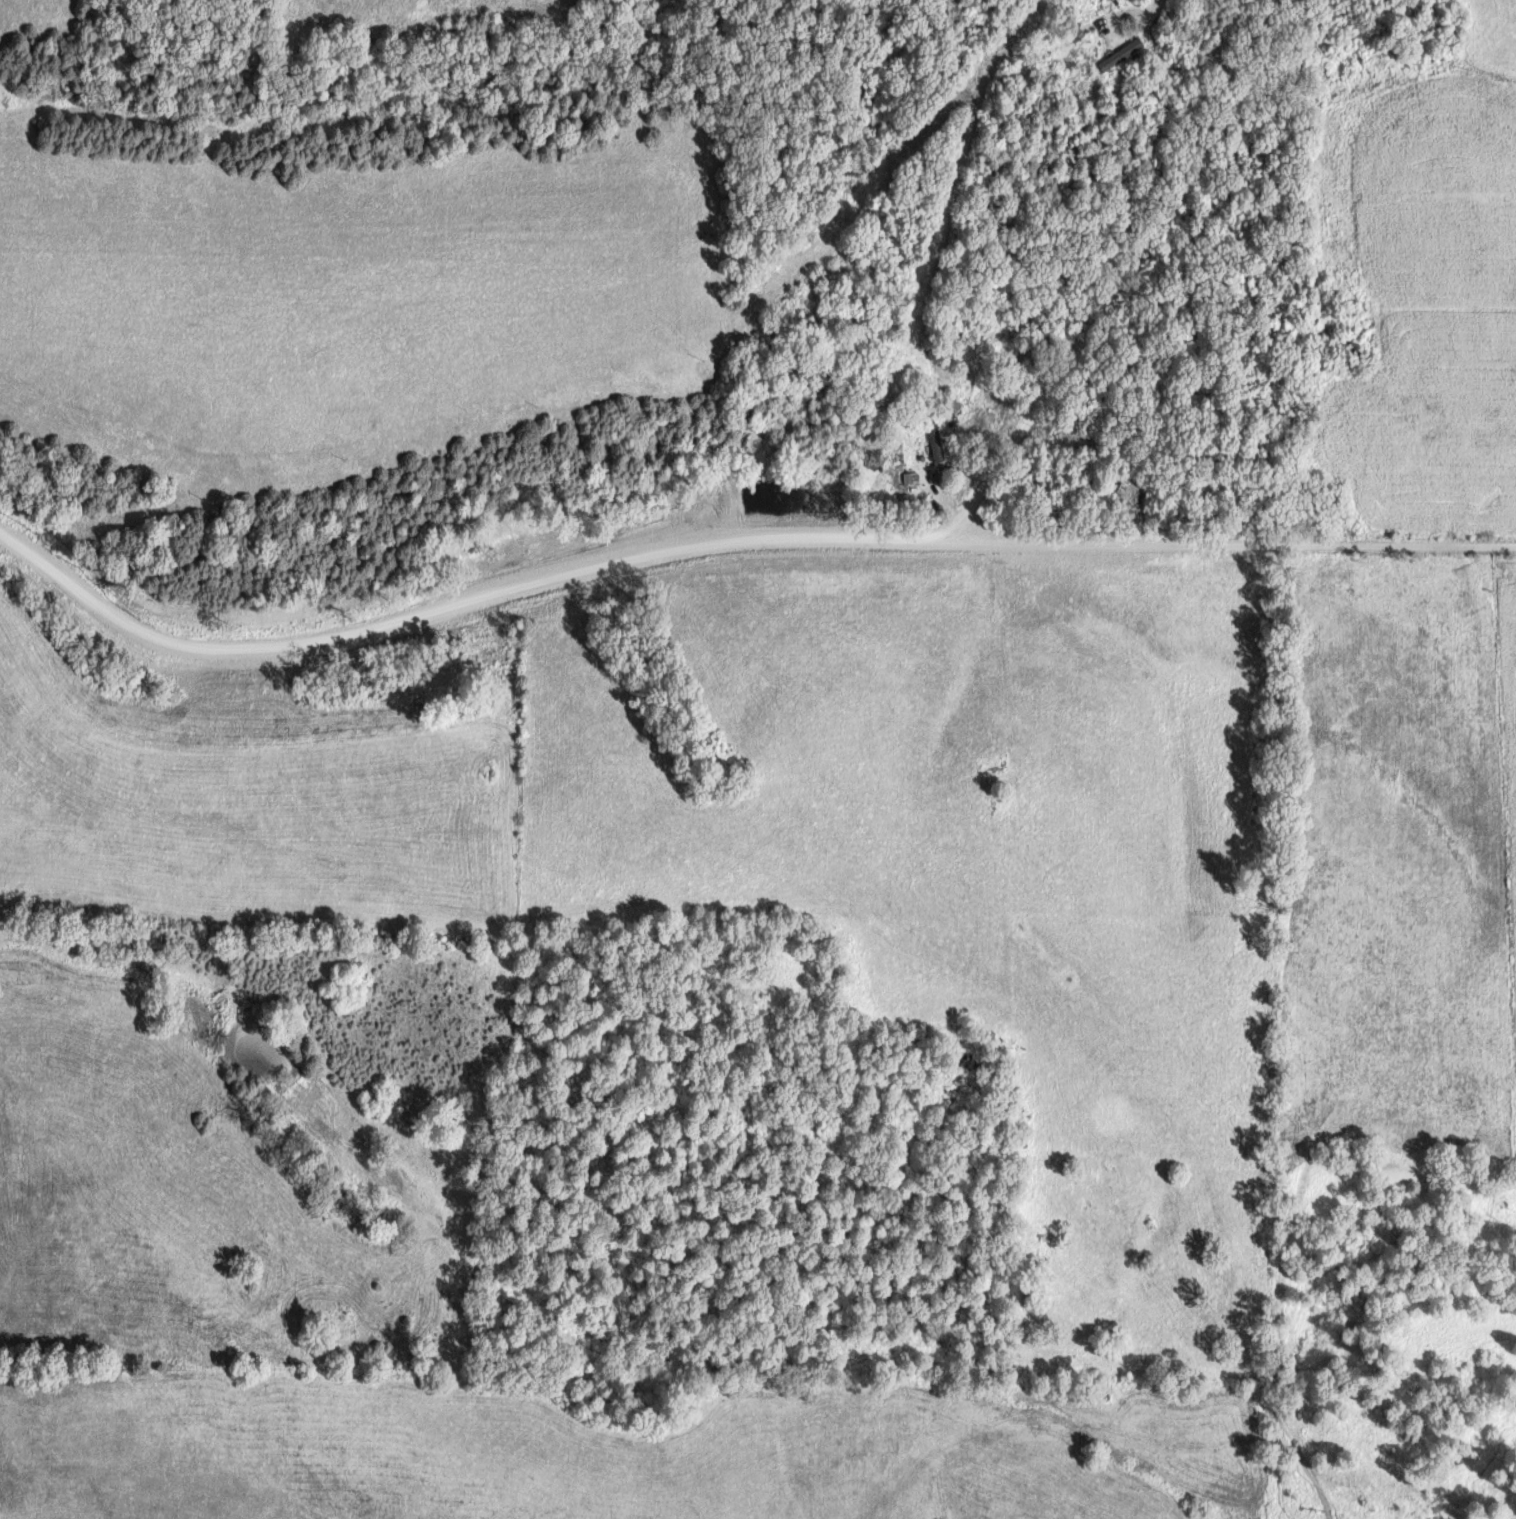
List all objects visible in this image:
road: (1163, 4)
road: (1118, 18)
building: (1119, 54)
road: (929, 457)
road: (857, 486)
road: (766, 527)
road: (1207, 539)

